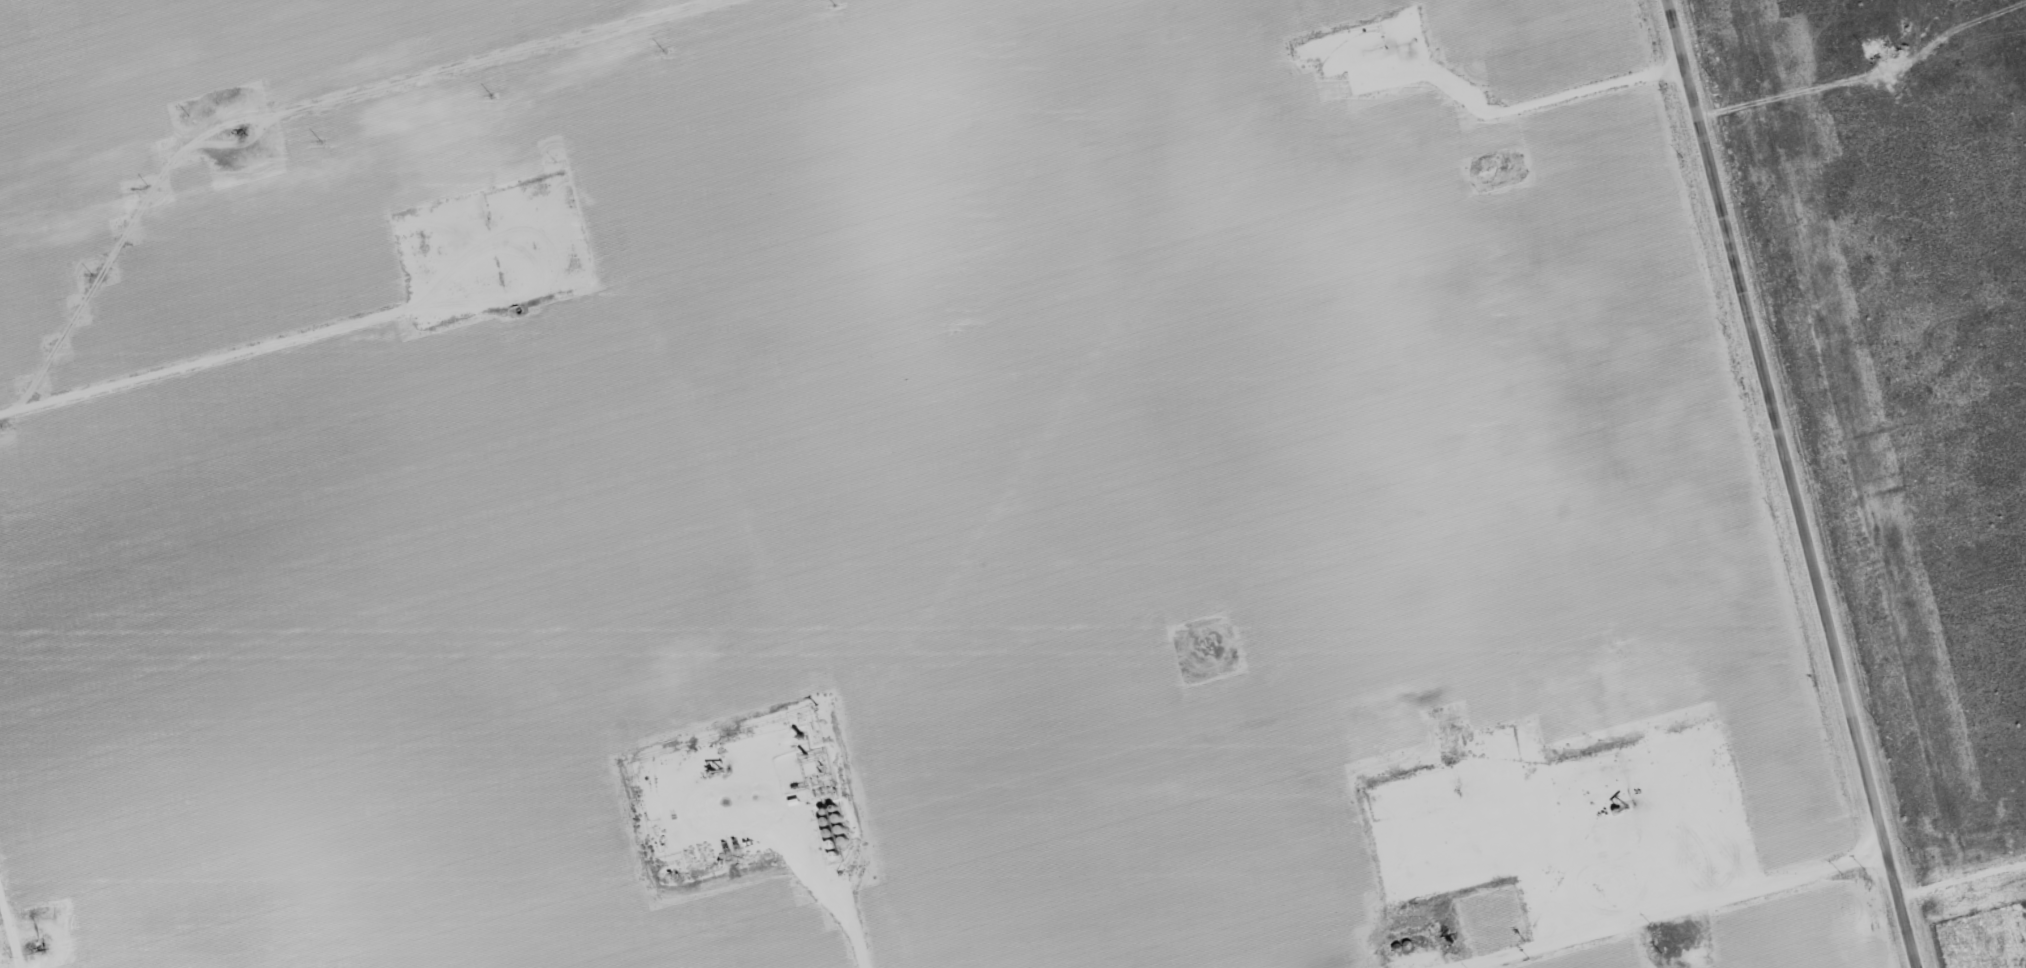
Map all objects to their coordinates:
road: (1859, 164)
road: (1794, 484)

